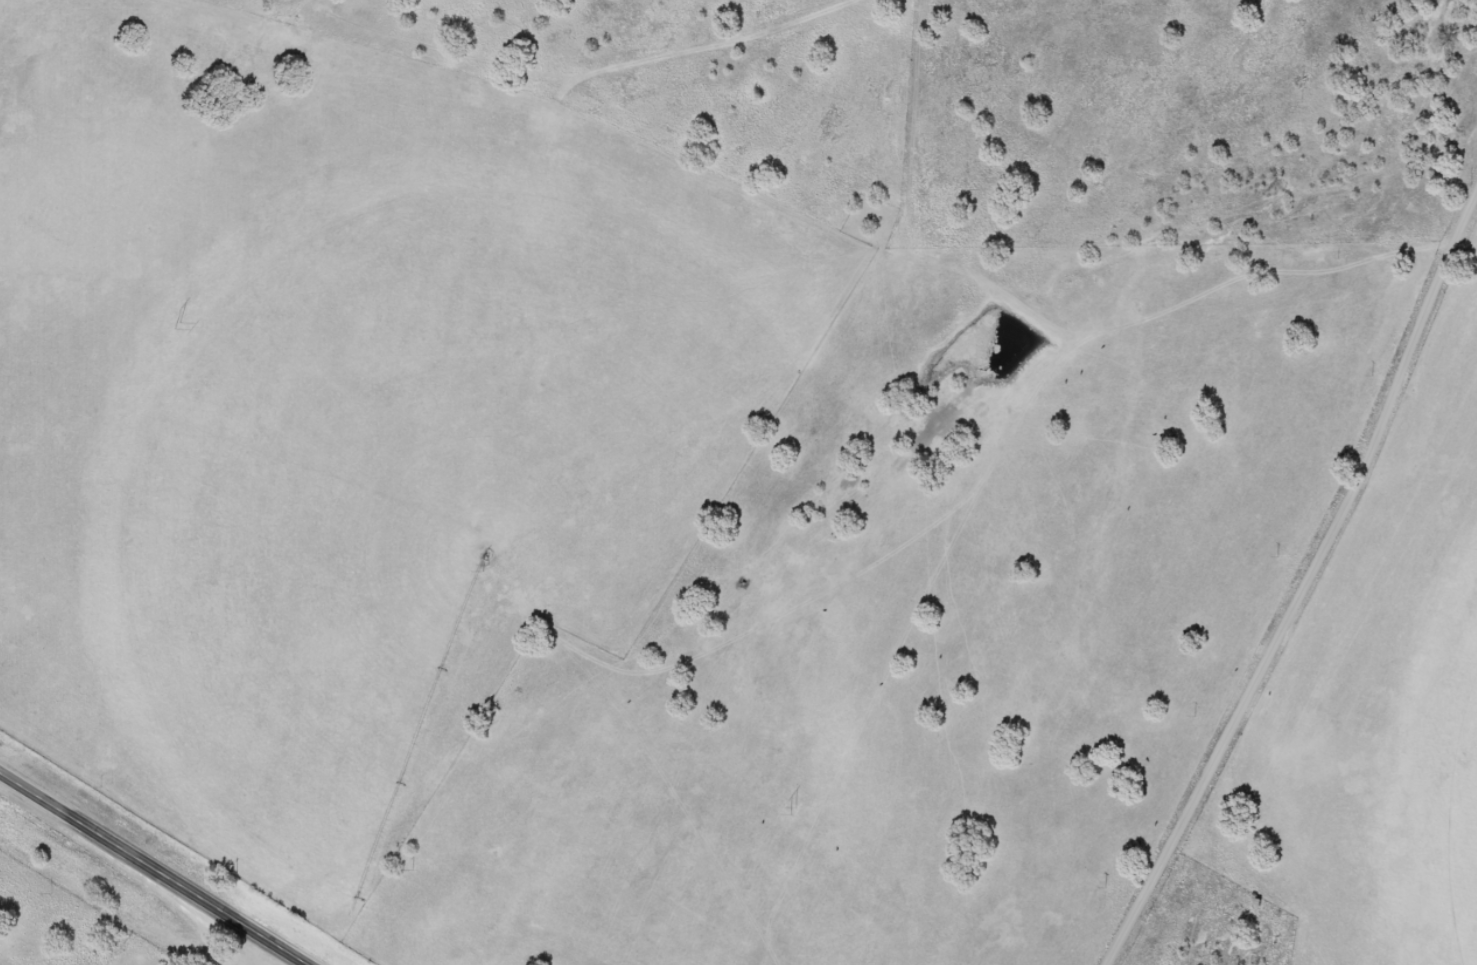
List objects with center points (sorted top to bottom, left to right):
power tower: (175, 324)
power tower: (483, 565)
road: (1292, 621)
power tower: (791, 810)
road: (152, 870)

